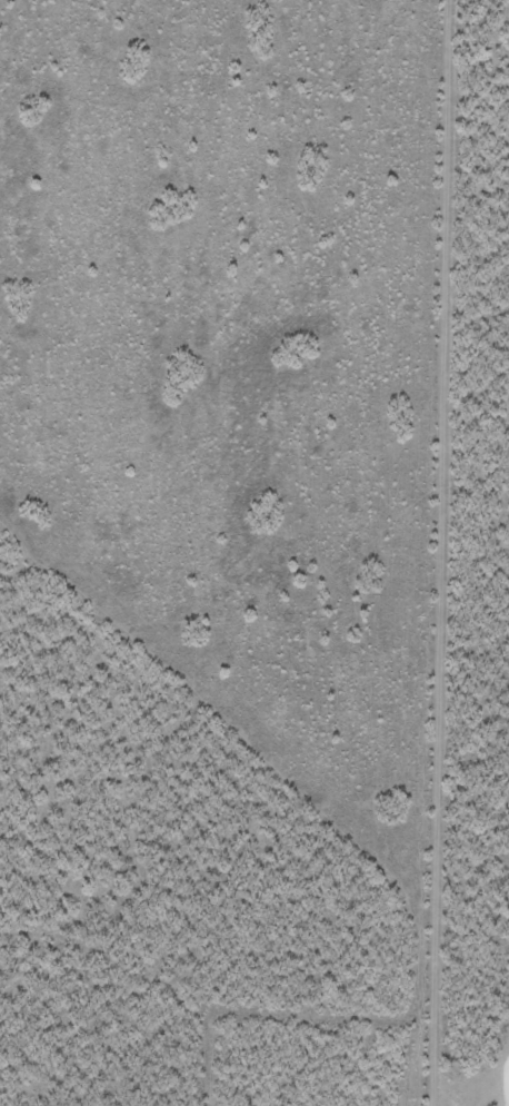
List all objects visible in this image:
road: (507, 1073)

